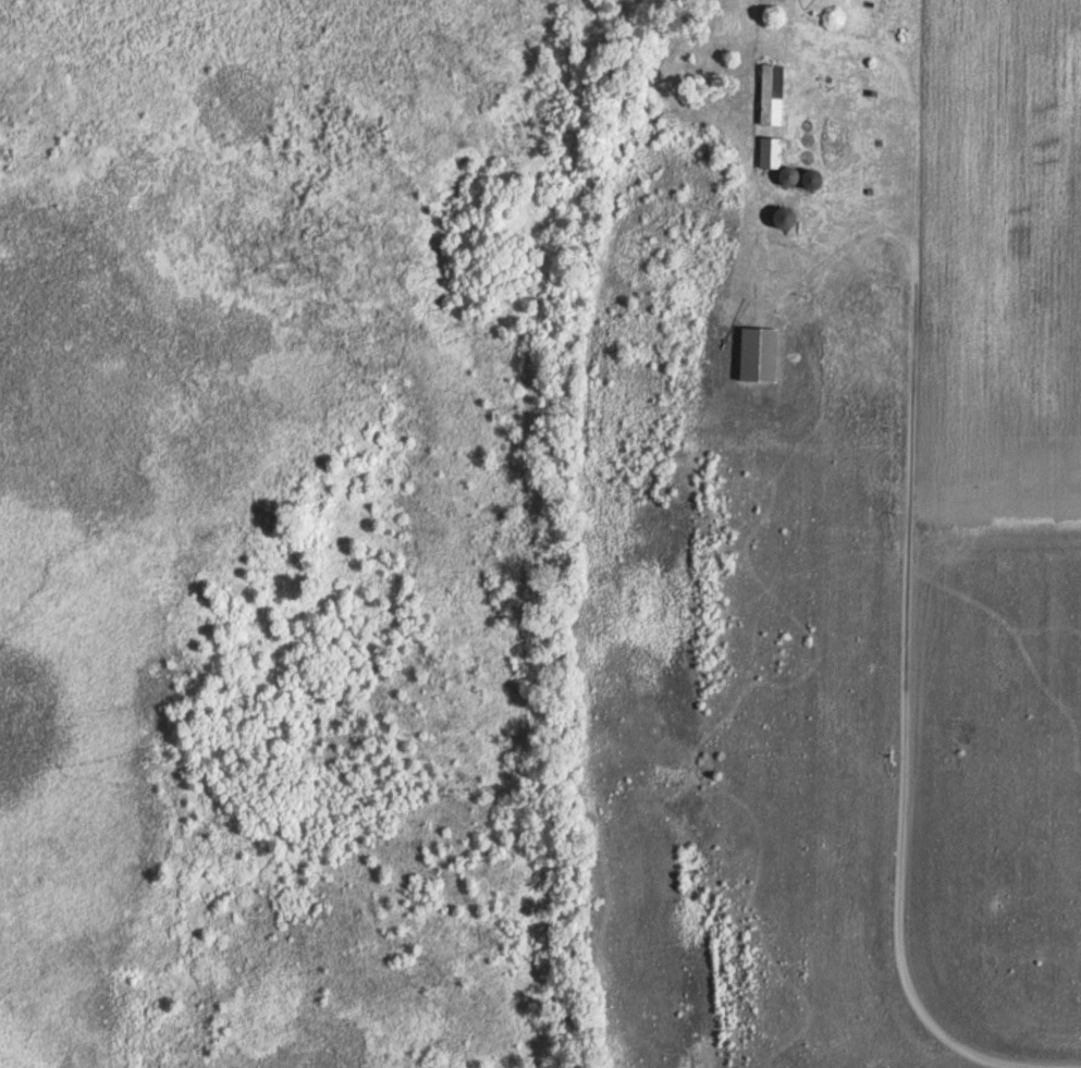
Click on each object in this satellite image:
building: (771, 91)
building: (770, 154)
building: (781, 214)
building: (757, 352)

